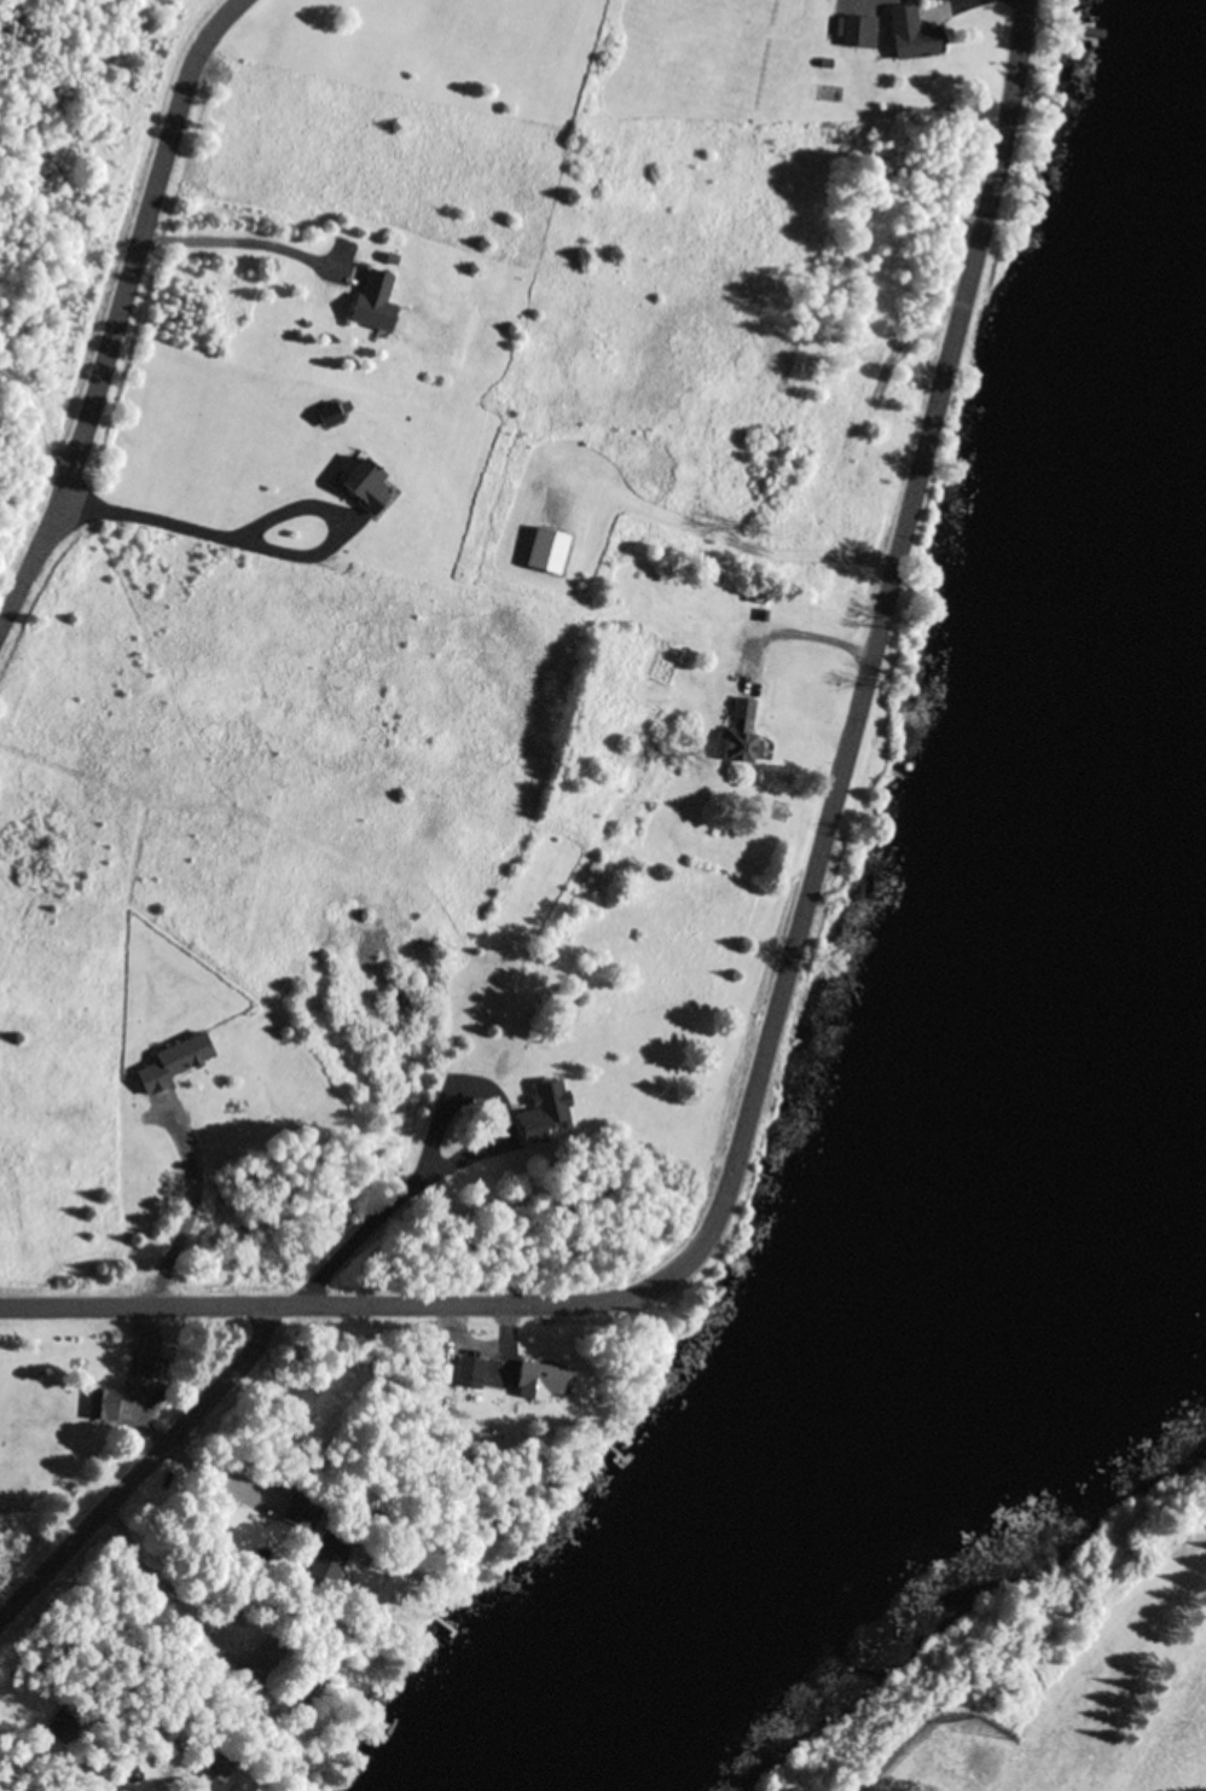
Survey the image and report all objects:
building: (856, 34)
building: (909, 36)
building: (372, 305)
road: (120, 313)
building: (363, 485)
building: (545, 550)
road: (874, 637)
building: (792, 706)
building: (738, 734)
building: (777, 812)
building: (172, 1063)
building: (543, 1113)
road: (347, 1300)
river: (928, 1322)
building: (147, 1372)
building: (468, 1374)
building: (530, 1383)
building: (100, 1405)
road: (145, 1465)
building: (300, 1512)
building: (330, 1551)
park: (1082, 1691)
building: (128, 1778)

